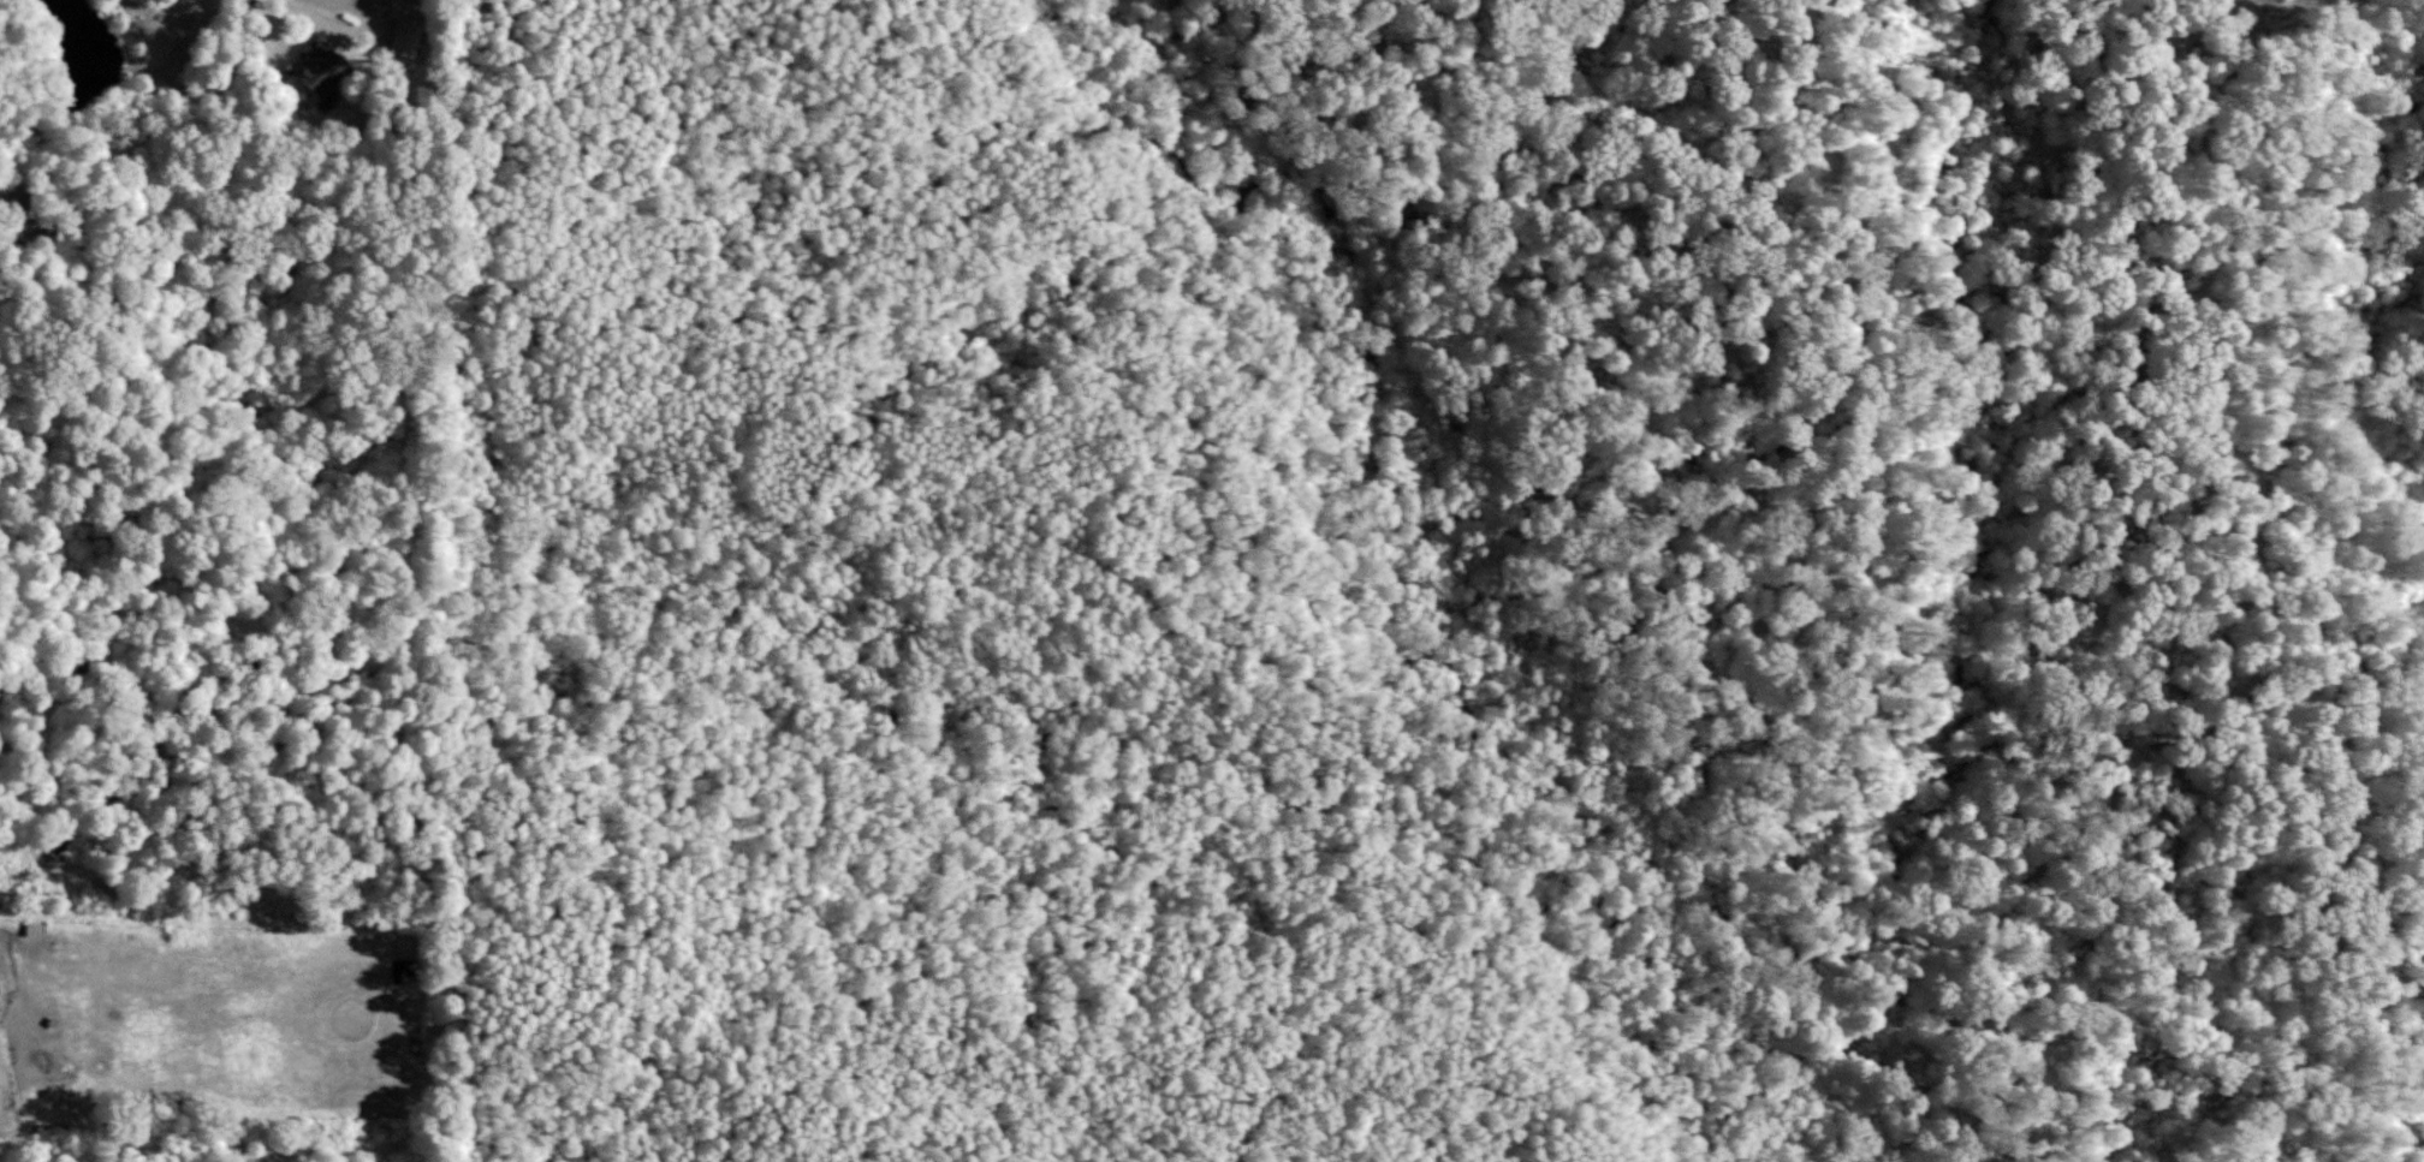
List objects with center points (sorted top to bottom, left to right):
road: (305, 18)
building: (399, 37)
building: (313, 70)

